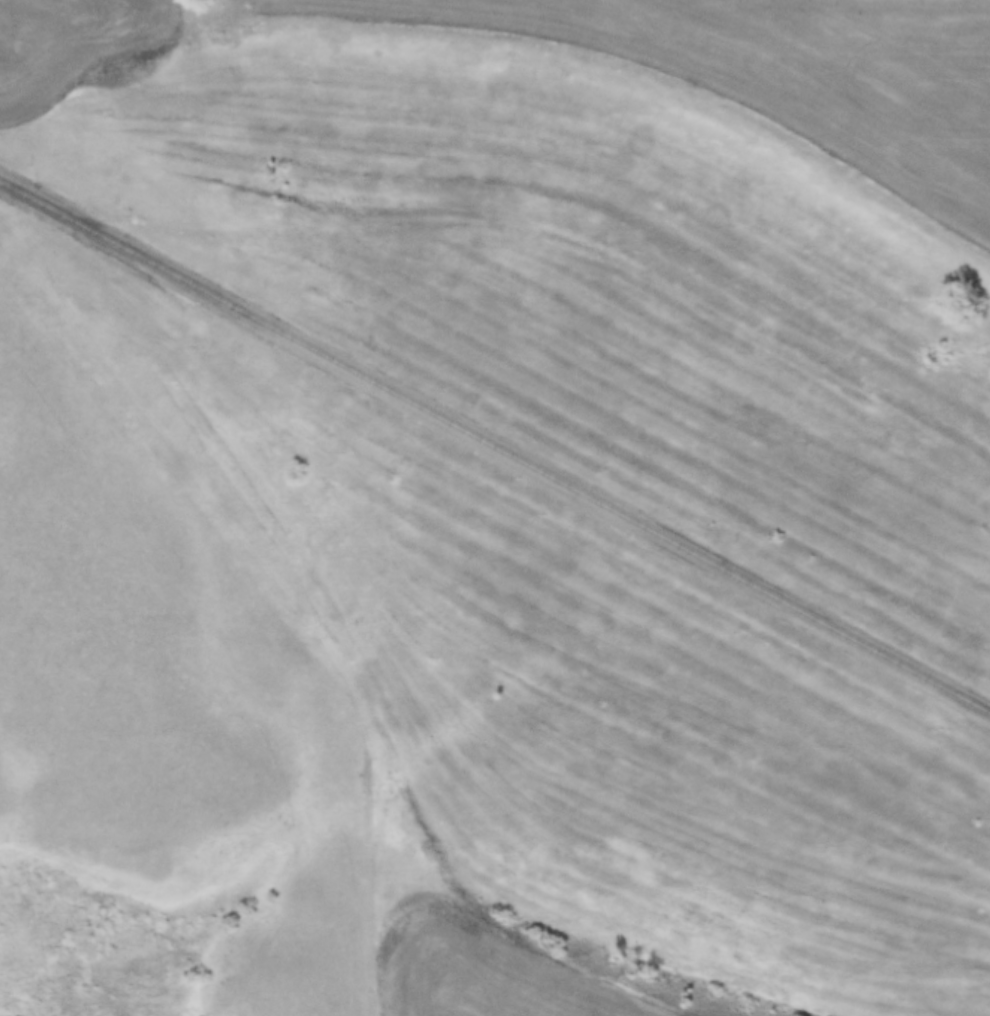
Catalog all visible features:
railway: (496, 445)
road: (284, 591)

